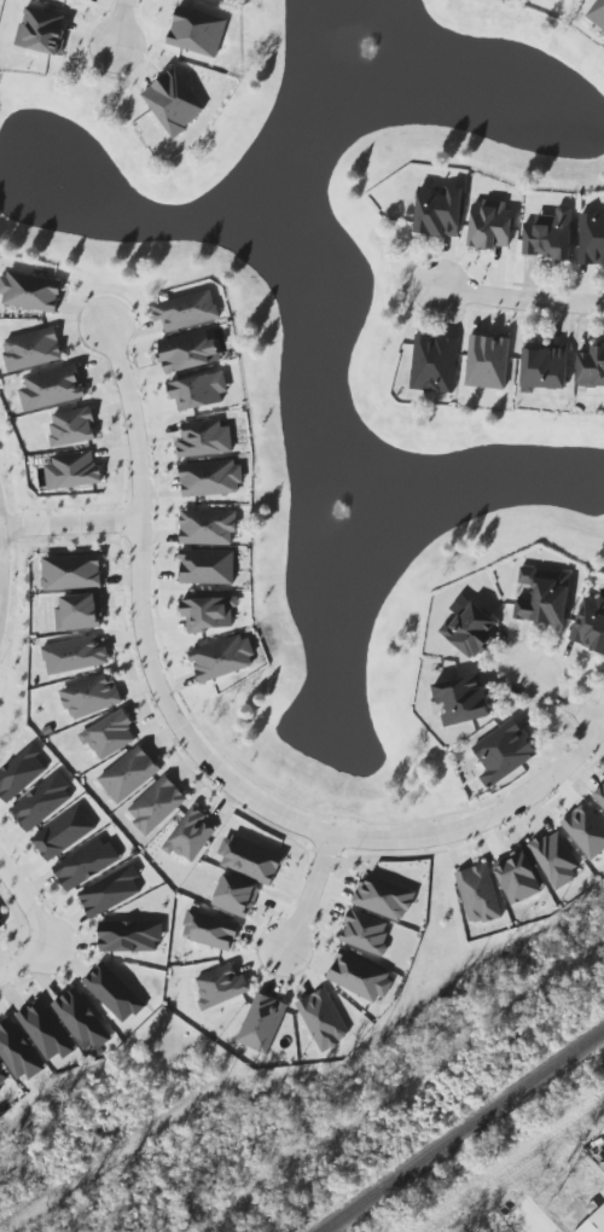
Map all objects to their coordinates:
building: (220, 1)
building: (598, 13)
road: (110, 27)
building: (42, 30)
building: (197, 31)
fountain: (341, 57)
building: (174, 101)
fountain: (57, 186)
building: (439, 211)
building: (490, 225)
building: (551, 233)
building: (591, 238)
building: (30, 292)
road: (516, 301)
building: (186, 310)
building: (190, 348)
building: (31, 349)
building: (487, 360)
building: (545, 362)
building: (434, 364)
building: (591, 367)
building: (52, 388)
building: (199, 391)
building: (74, 424)
building: (203, 437)
building: (74, 469)
building: (211, 476)
fountain: (339, 507)
road: (70, 524)
building: (208, 524)
building: (208, 566)
building: (71, 571)
building: (544, 593)
building: (79, 609)
building: (209, 611)
building: (590, 622)
building: (470, 624)
building: (75, 655)
building: (223, 656)
building: (91, 696)
building: (463, 696)
road: (564, 698)
building: (108, 733)
building: (504, 751)
road: (205, 761)
building: (129, 773)
building: (21, 774)
building: (599, 795)
building: (42, 802)
building: (157, 803)
building: (586, 830)
building: (190, 832)
building: (63, 833)
building: (556, 858)
building: (250, 860)
building: (85, 861)
building: (517, 877)
road: (309, 890)
building: (110, 891)
building: (478, 895)
building: (236, 896)
building: (384, 897)
road: (27, 901)
building: (1, 922)
building: (210, 929)
building: (365, 930)
building: (132, 936)
road: (23, 963)
building: (359, 974)
building: (222, 984)
building: (114, 993)
building: (81, 1018)
building: (320, 1018)
building: (261, 1022)
building: (46, 1029)
building: (18, 1050)
building: (2, 1075)
railway: (465, 1133)
building: (594, 1222)

